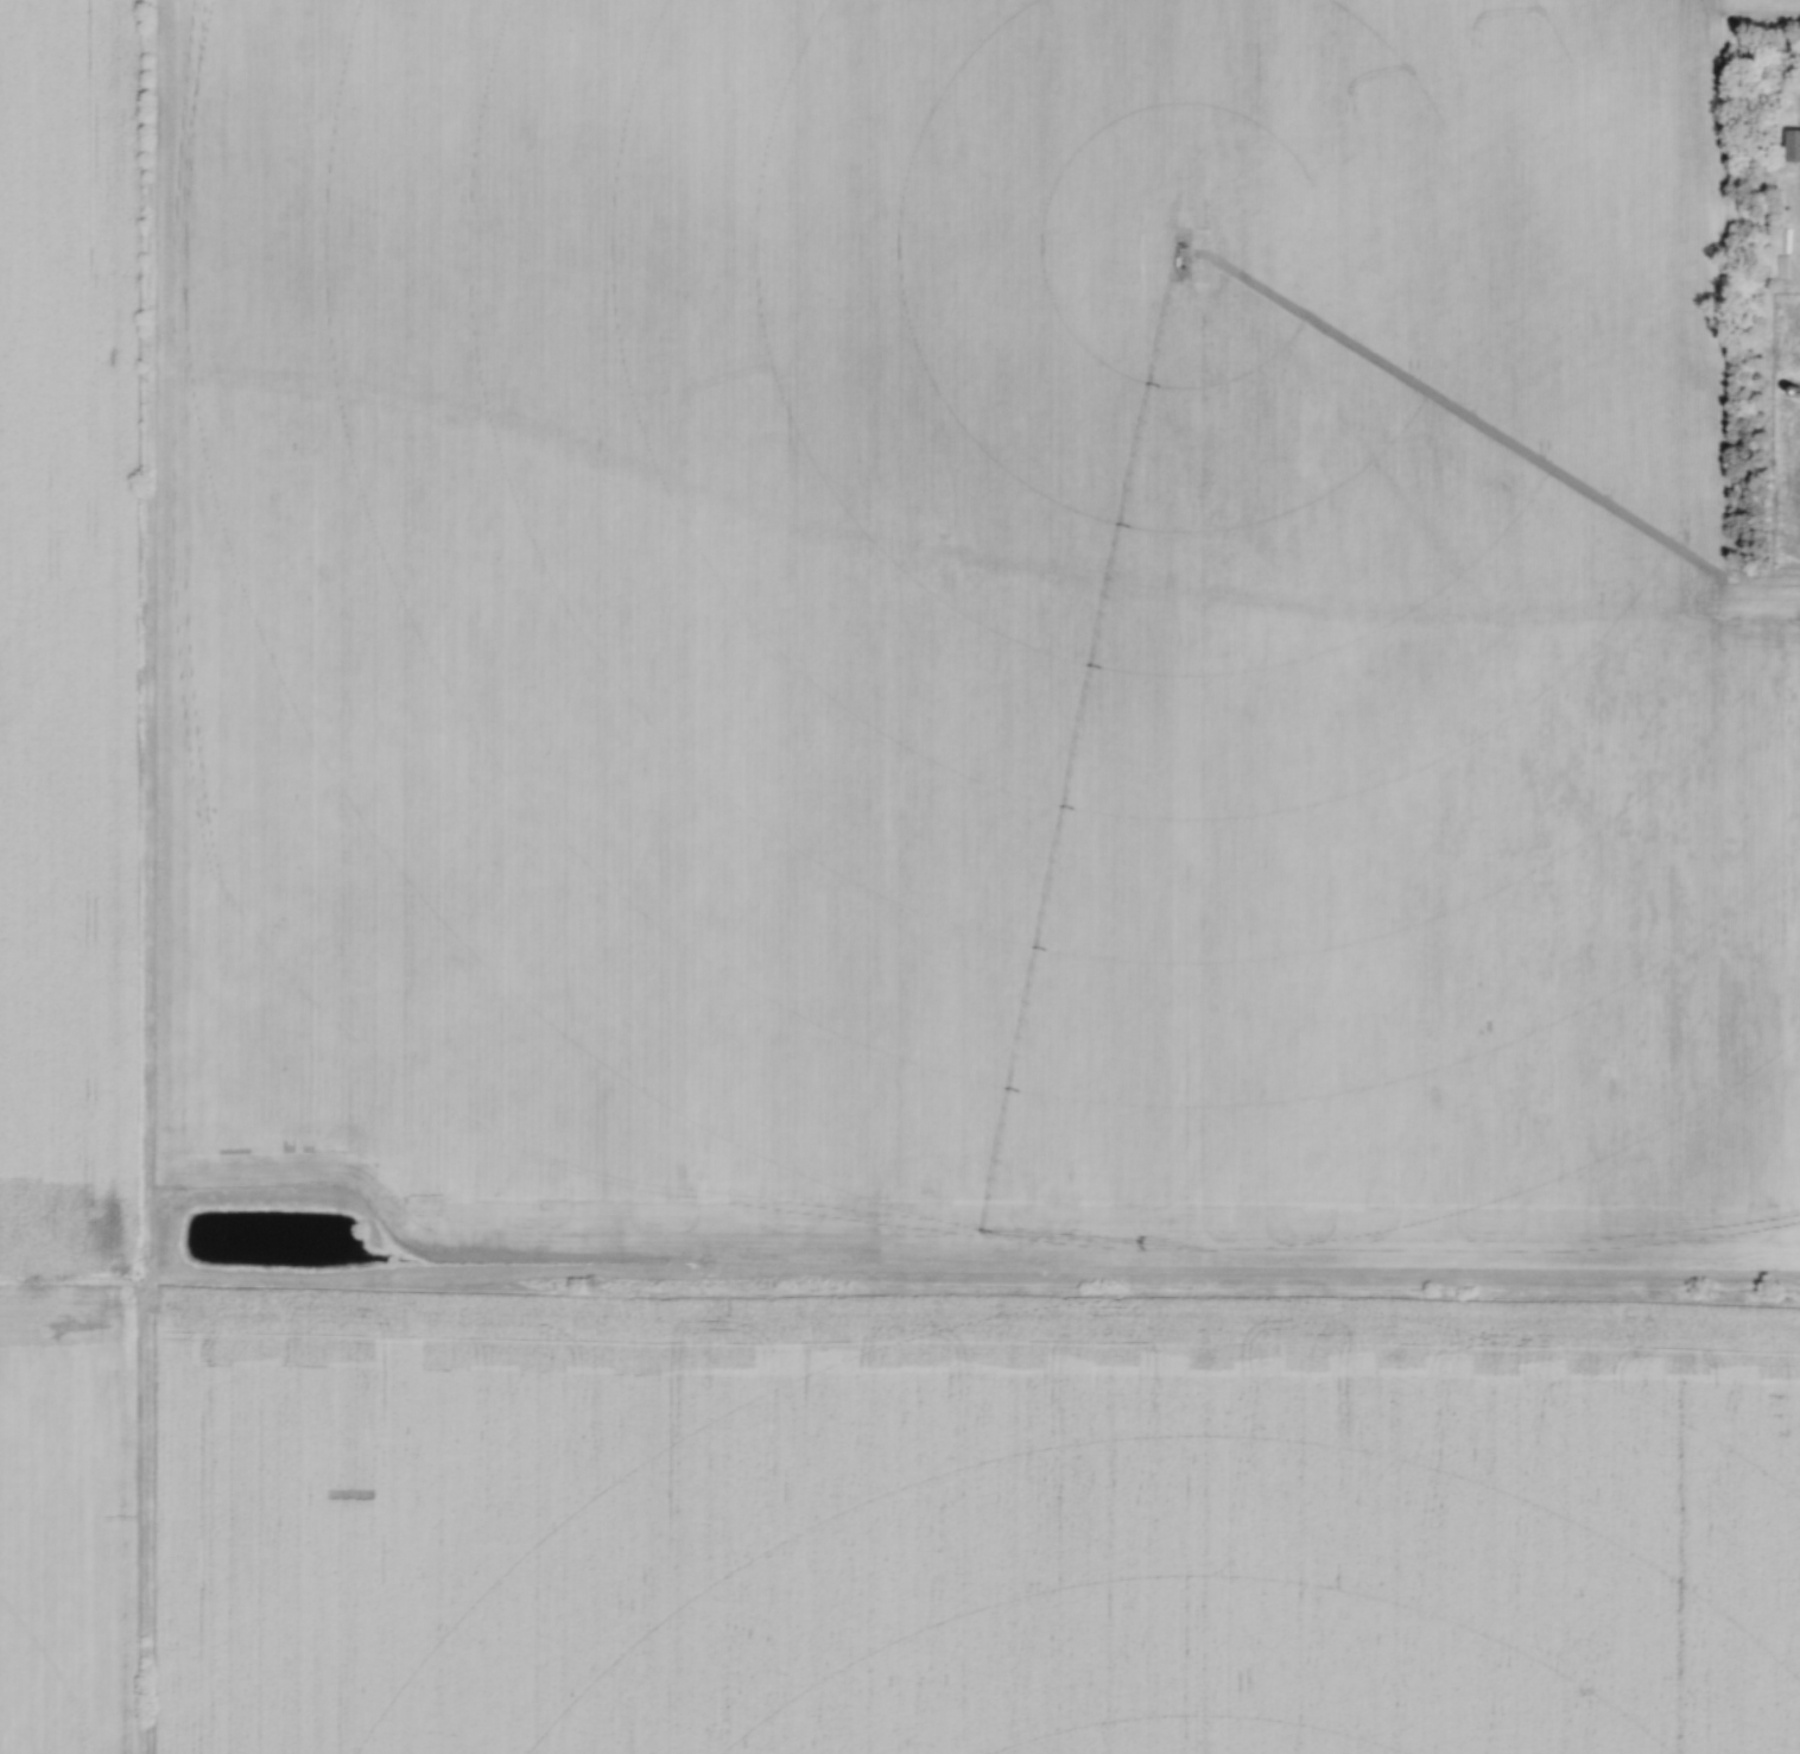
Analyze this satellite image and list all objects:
building: (1787, 144)

